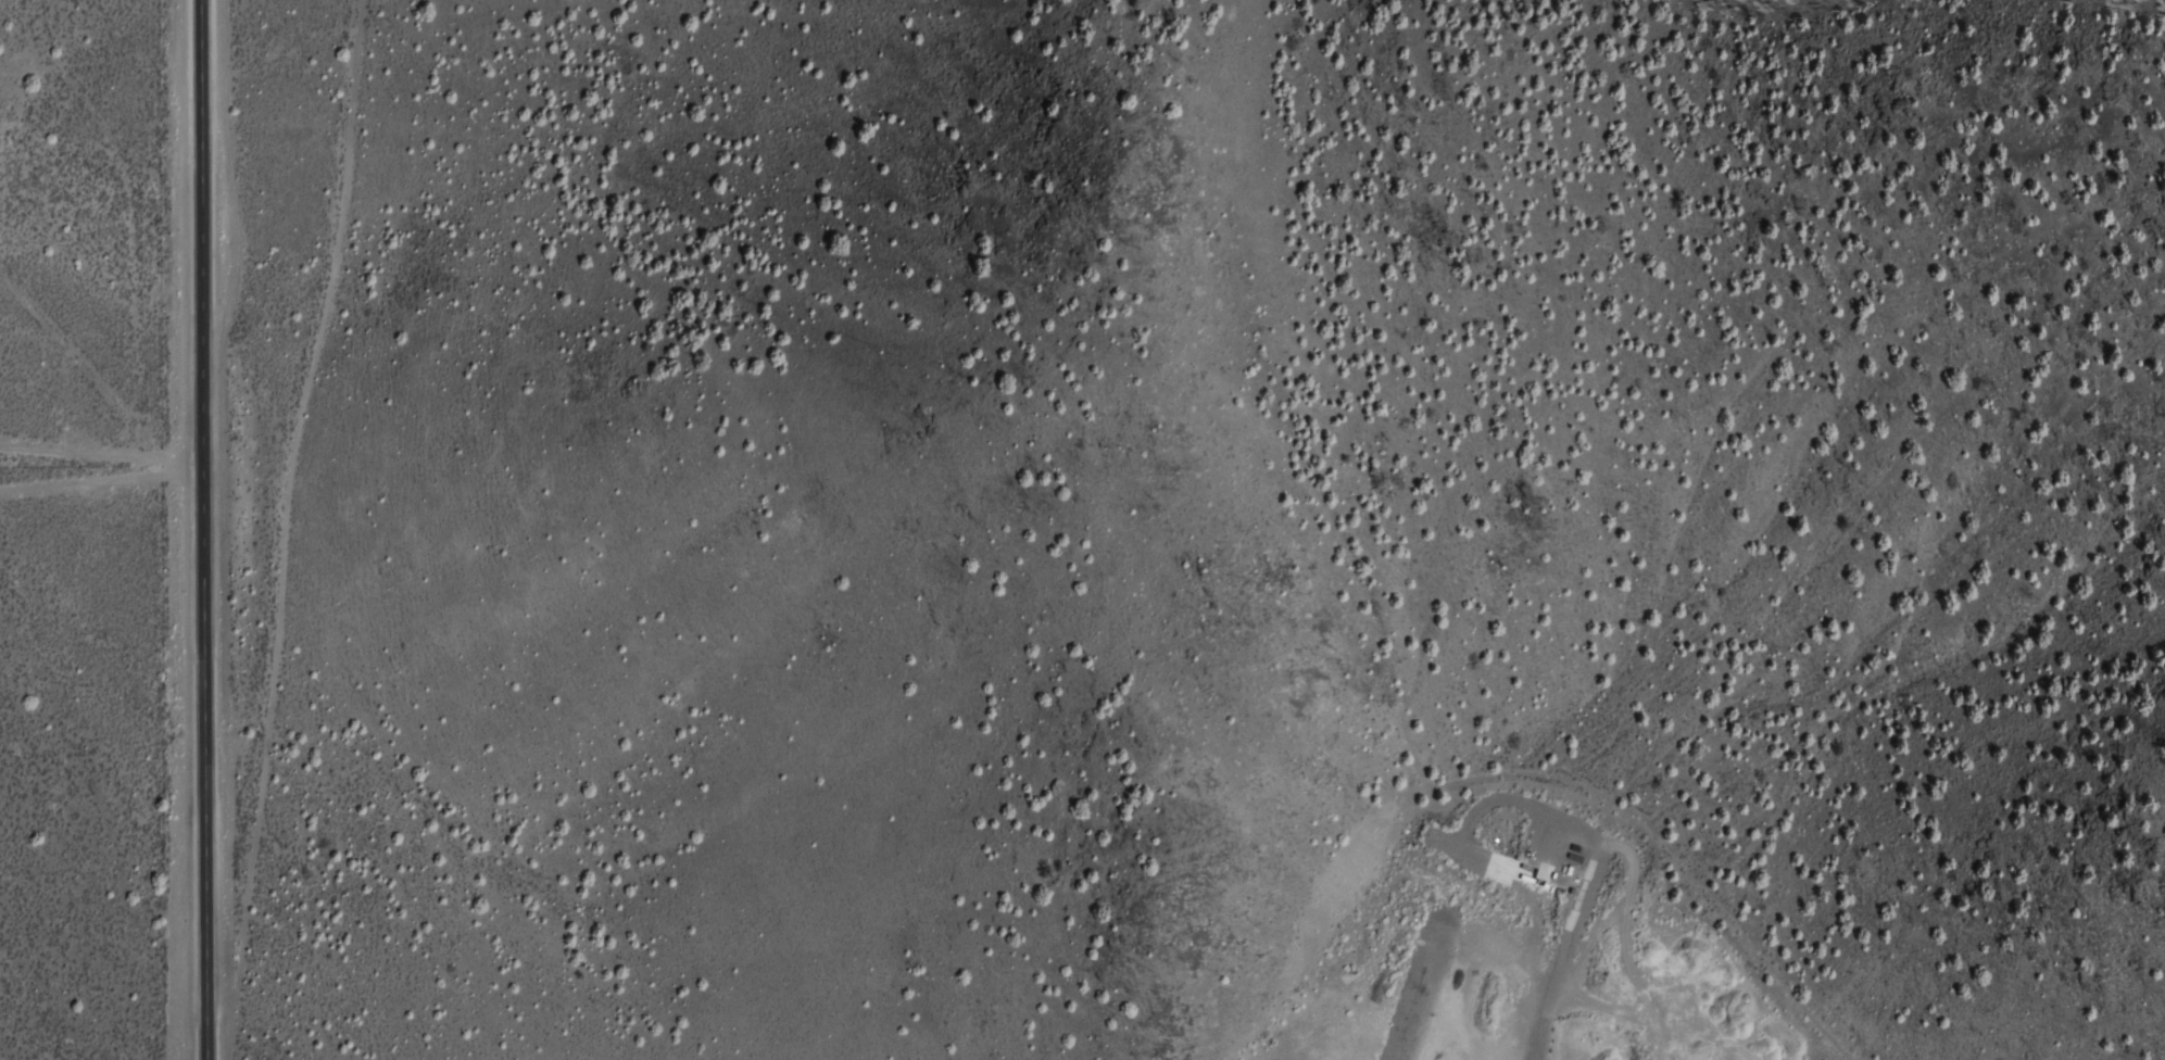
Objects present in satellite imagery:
road: (92, 478)
road: (187, 529)
road: (1598, 868)
building: (1499, 871)
building: (1578, 895)

